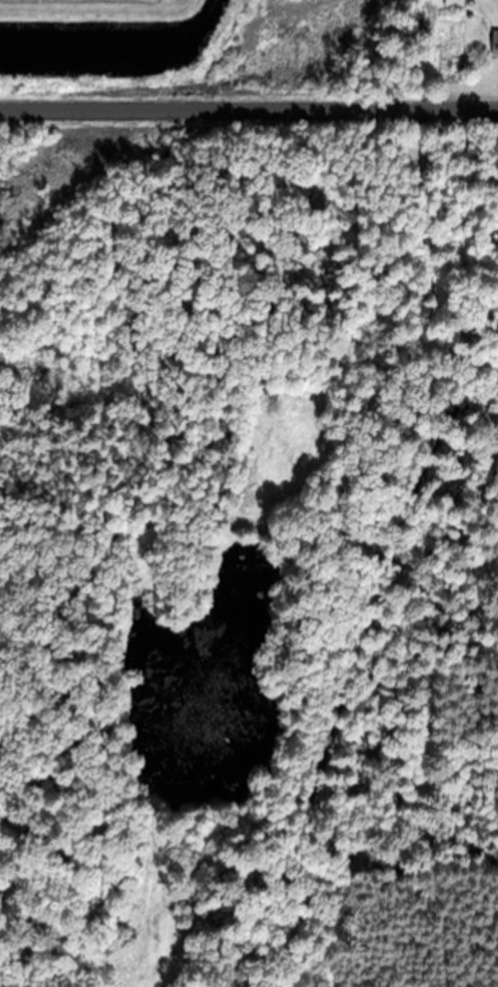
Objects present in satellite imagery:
crop: (88, 3)
building: (452, 3)
building: (495, 41)
road: (249, 111)
road: (327, 447)

